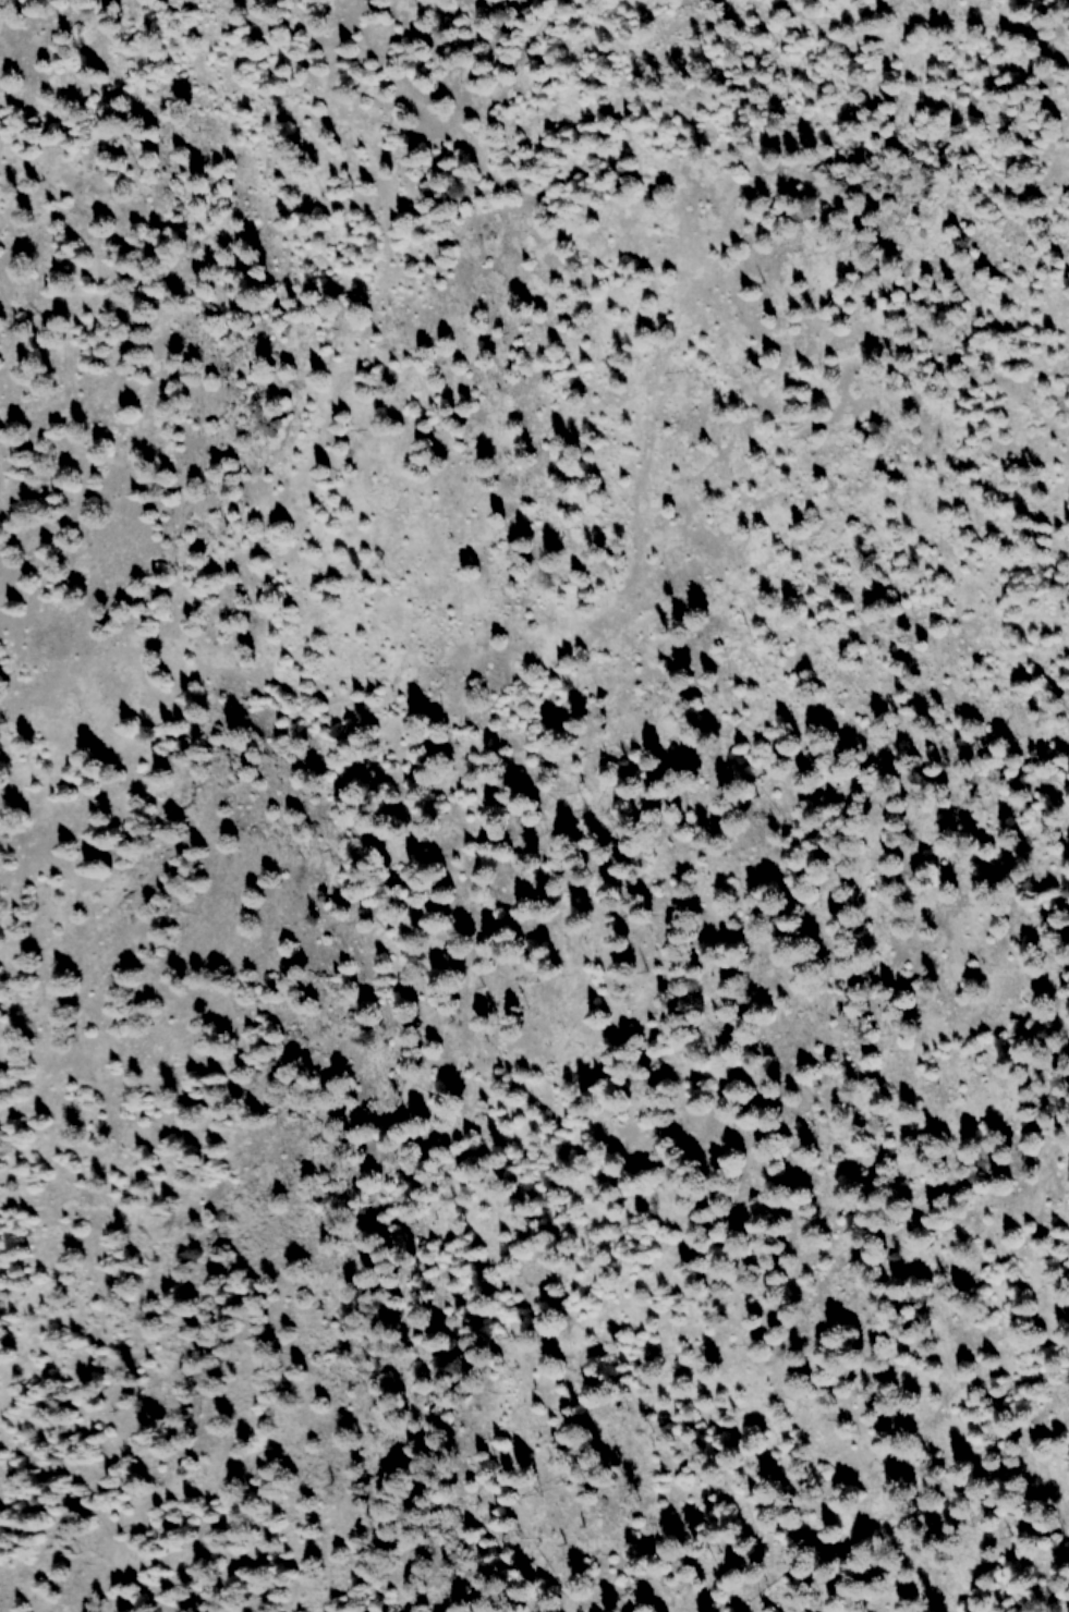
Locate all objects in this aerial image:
road: (1057, 203)

